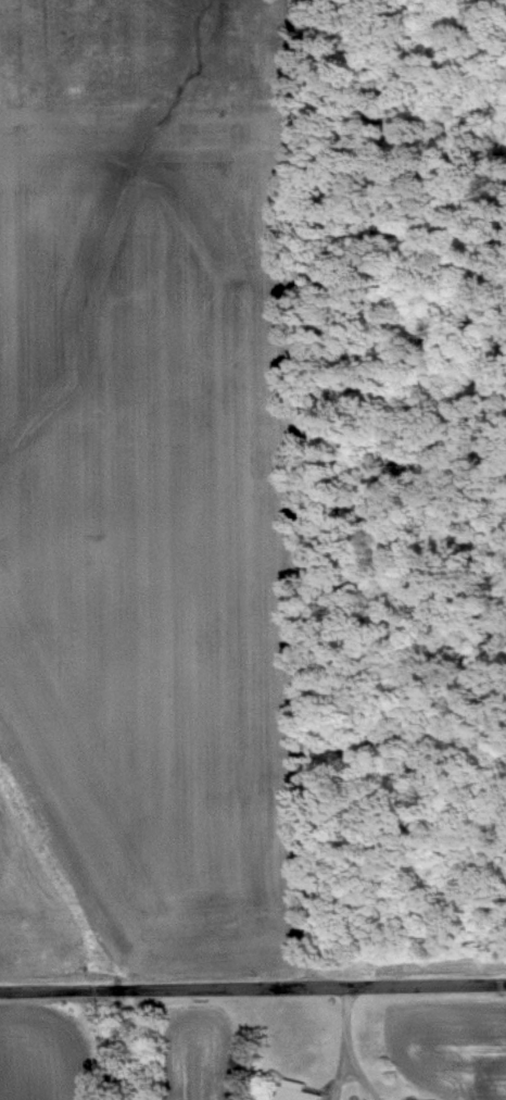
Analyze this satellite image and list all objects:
road: (252, 990)
road: (343, 1033)
road: (351, 1079)
building: (292, 1090)

